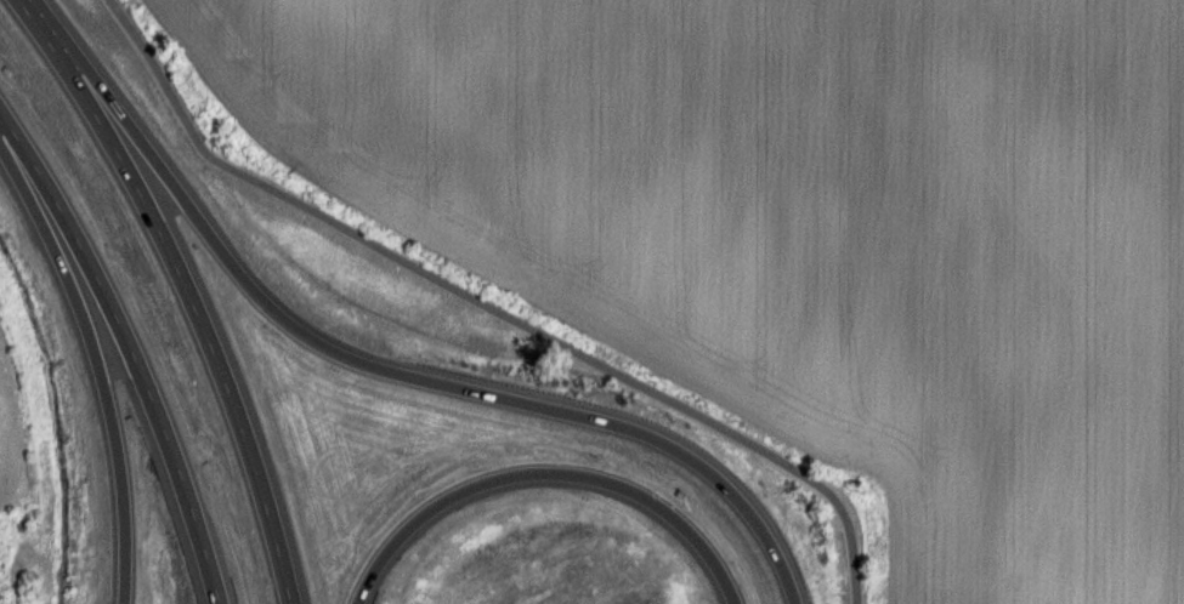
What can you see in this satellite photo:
road: (183, 287)
road: (491, 307)
road: (129, 347)
road: (370, 365)
road: (98, 367)
road: (545, 472)

